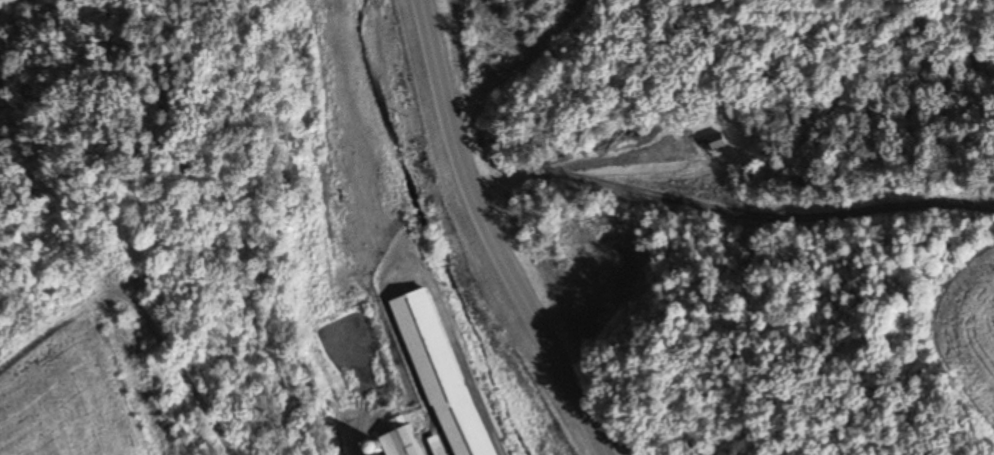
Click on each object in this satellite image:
building: (712, 143)
road: (490, 236)
road: (452, 341)
building: (439, 374)
road: (349, 442)
building: (397, 442)
building: (435, 446)

